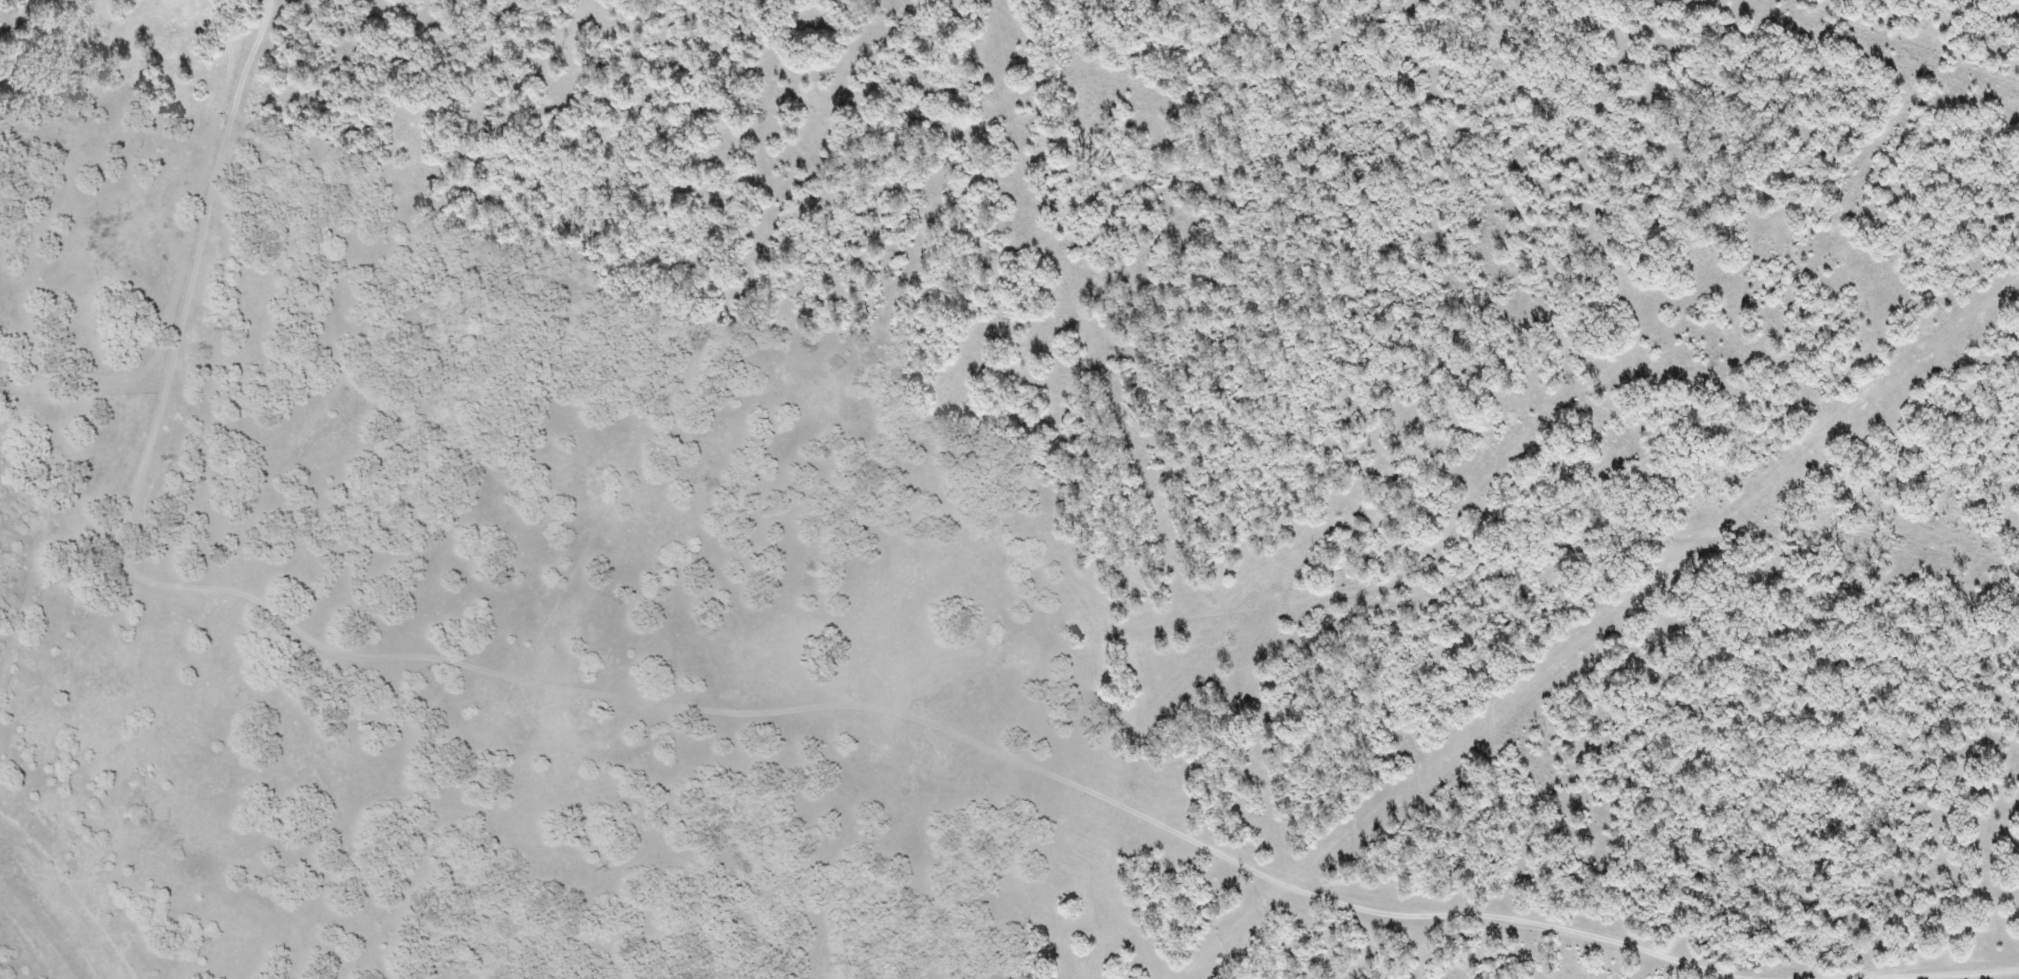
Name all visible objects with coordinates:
road: (81, 542)

